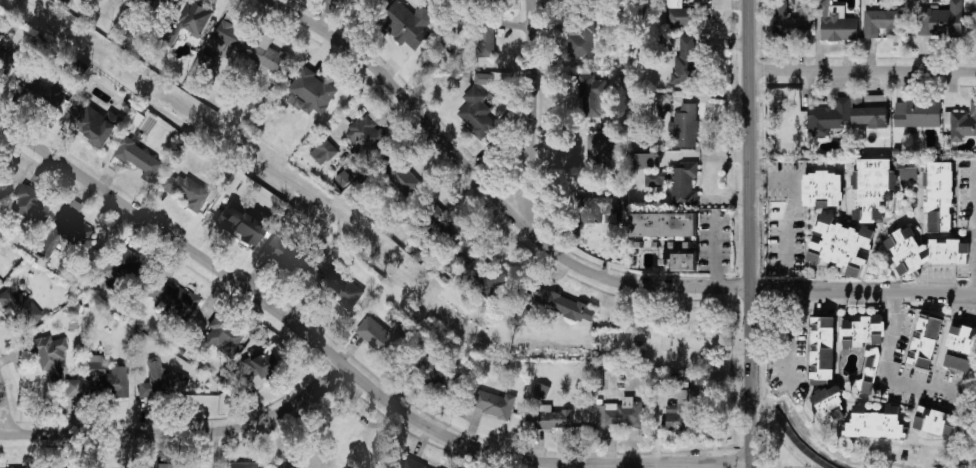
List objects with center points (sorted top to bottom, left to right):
building: (382, 2)
building: (158, 5)
building: (679, 14)
building: (942, 21)
building: (190, 22)
building: (836, 22)
building: (880, 22)
building: (789, 23)
building: (407, 24)
building: (449, 32)
building: (232, 35)
building: (581, 36)
building: (1, 39)
building: (486, 40)
building: (269, 55)
building: (6, 62)
building: (685, 62)
building: (201, 64)
road: (864, 70)
building: (483, 78)
building: (43, 90)
building: (592, 96)
building: (664, 104)
road: (533, 108)
building: (870, 111)
building: (477, 113)
building: (918, 113)
building: (830, 117)
building: (963, 123)
building: (93, 124)
building: (685, 126)
building: (367, 137)
building: (324, 151)
building: (597, 153)
building: (140, 159)
building: (646, 161)
building: (909, 173)
building: (400, 177)
building: (343, 178)
building: (894, 179)
building: (678, 182)
building: (1, 185)
building: (871, 188)
building: (823, 189)
building: (183, 190)
road: (490, 191)
building: (940, 197)
building: (31, 204)
building: (597, 208)
building: (242, 222)
building: (429, 224)
building: (664, 224)
building: (75, 229)
road: (787, 231)
road: (752, 234)
building: (841, 244)
building: (925, 251)
building: (284, 253)
building: (685, 261)
building: (119, 264)
building: (485, 275)
building: (341, 287)
road: (864, 293)
building: (172, 298)
building: (562, 304)
building: (20, 309)
building: (864, 331)
building: (380, 334)
building: (223, 337)
road: (785, 338)
park: (673, 339)
building: (925, 341)
building: (641, 348)
road: (694, 348)
building: (961, 348)
building: (50, 355)
road: (669, 357)
road: (896, 359)
building: (259, 368)
road: (349, 369)
building: (436, 371)
building: (869, 371)
building: (109, 378)
building: (163, 382)
building: (73, 388)
building: (541, 390)
building: (494, 403)
building: (830, 405)
road: (6, 406)
building: (682, 412)
building: (619, 413)
building: (553, 418)
building: (936, 422)
building: (875, 423)
road: (181, 433)
building: (413, 464)
building: (242, 465)
road: (534, 466)
building: (177, 467)

